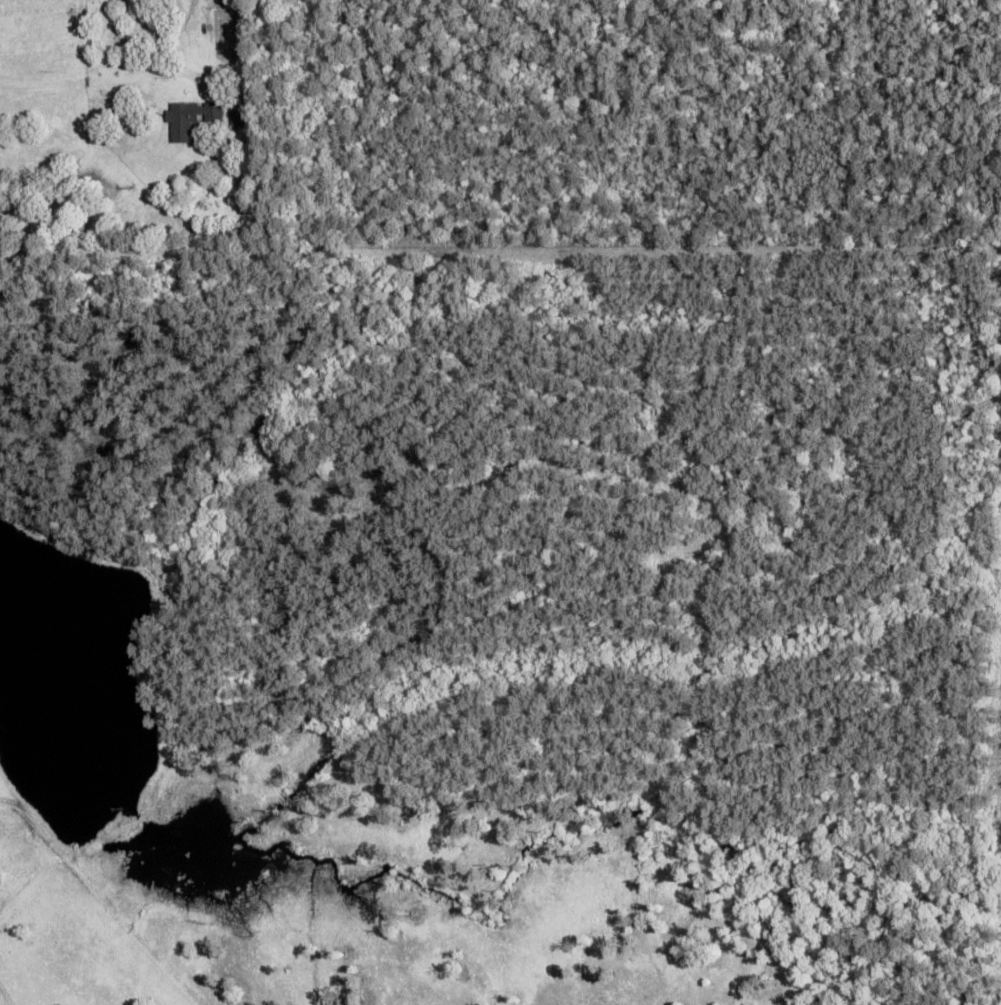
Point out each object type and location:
road: (108, 80)
building: (240, 104)
building: (189, 118)

